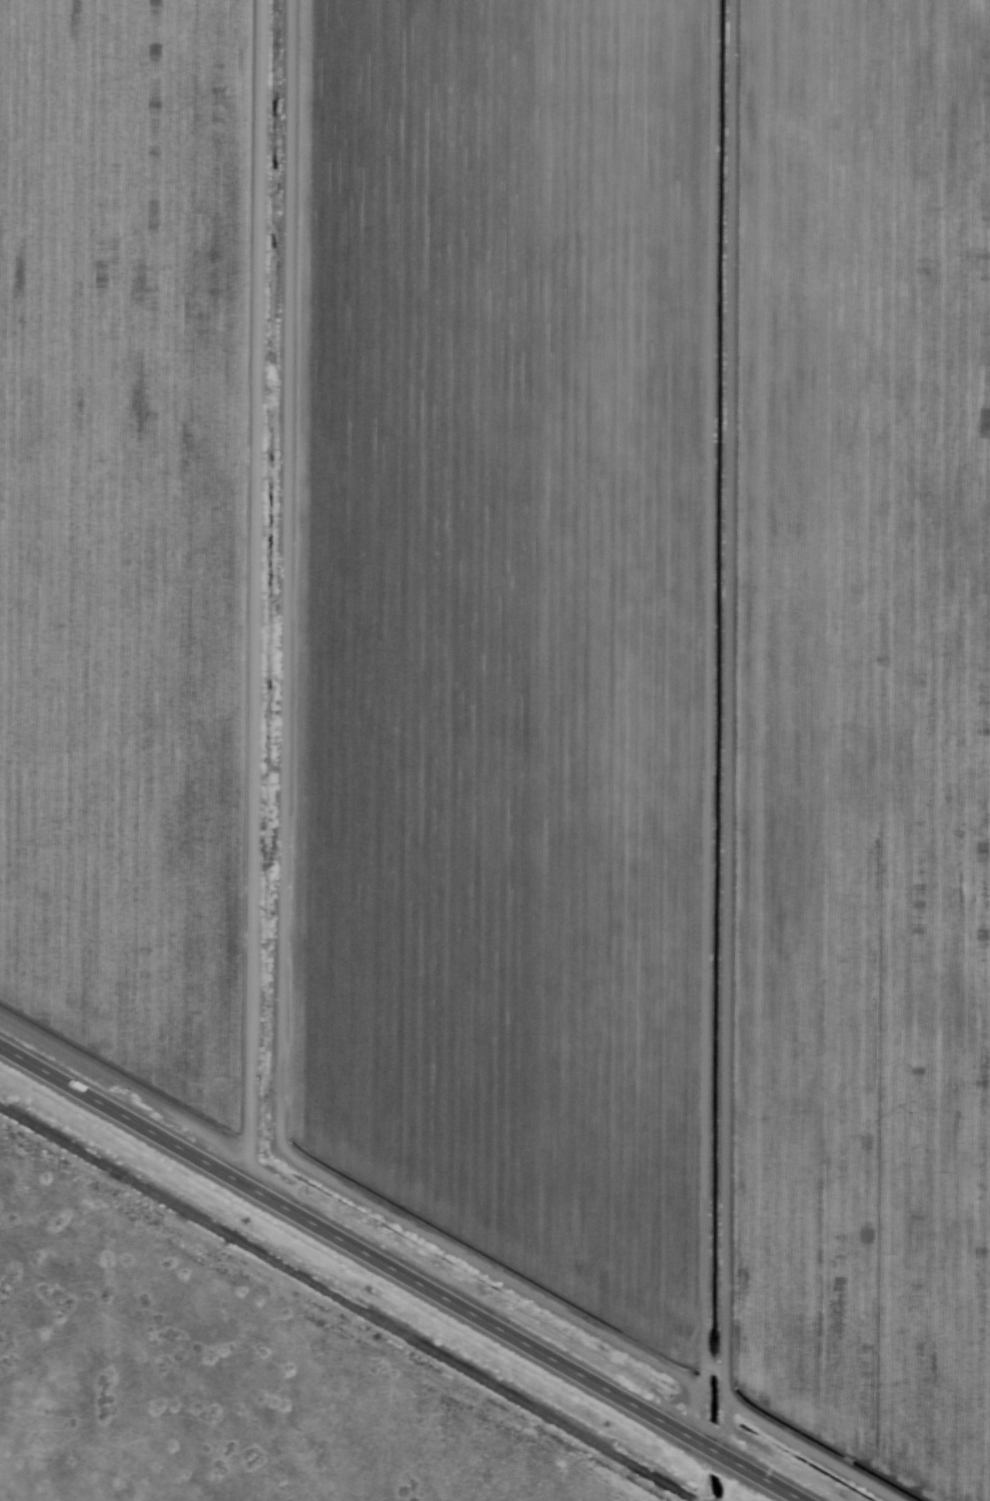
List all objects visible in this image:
crop: (387, 620)
road: (718, 720)
crop: (862, 745)
road: (408, 1270)
railway: (347, 1304)

